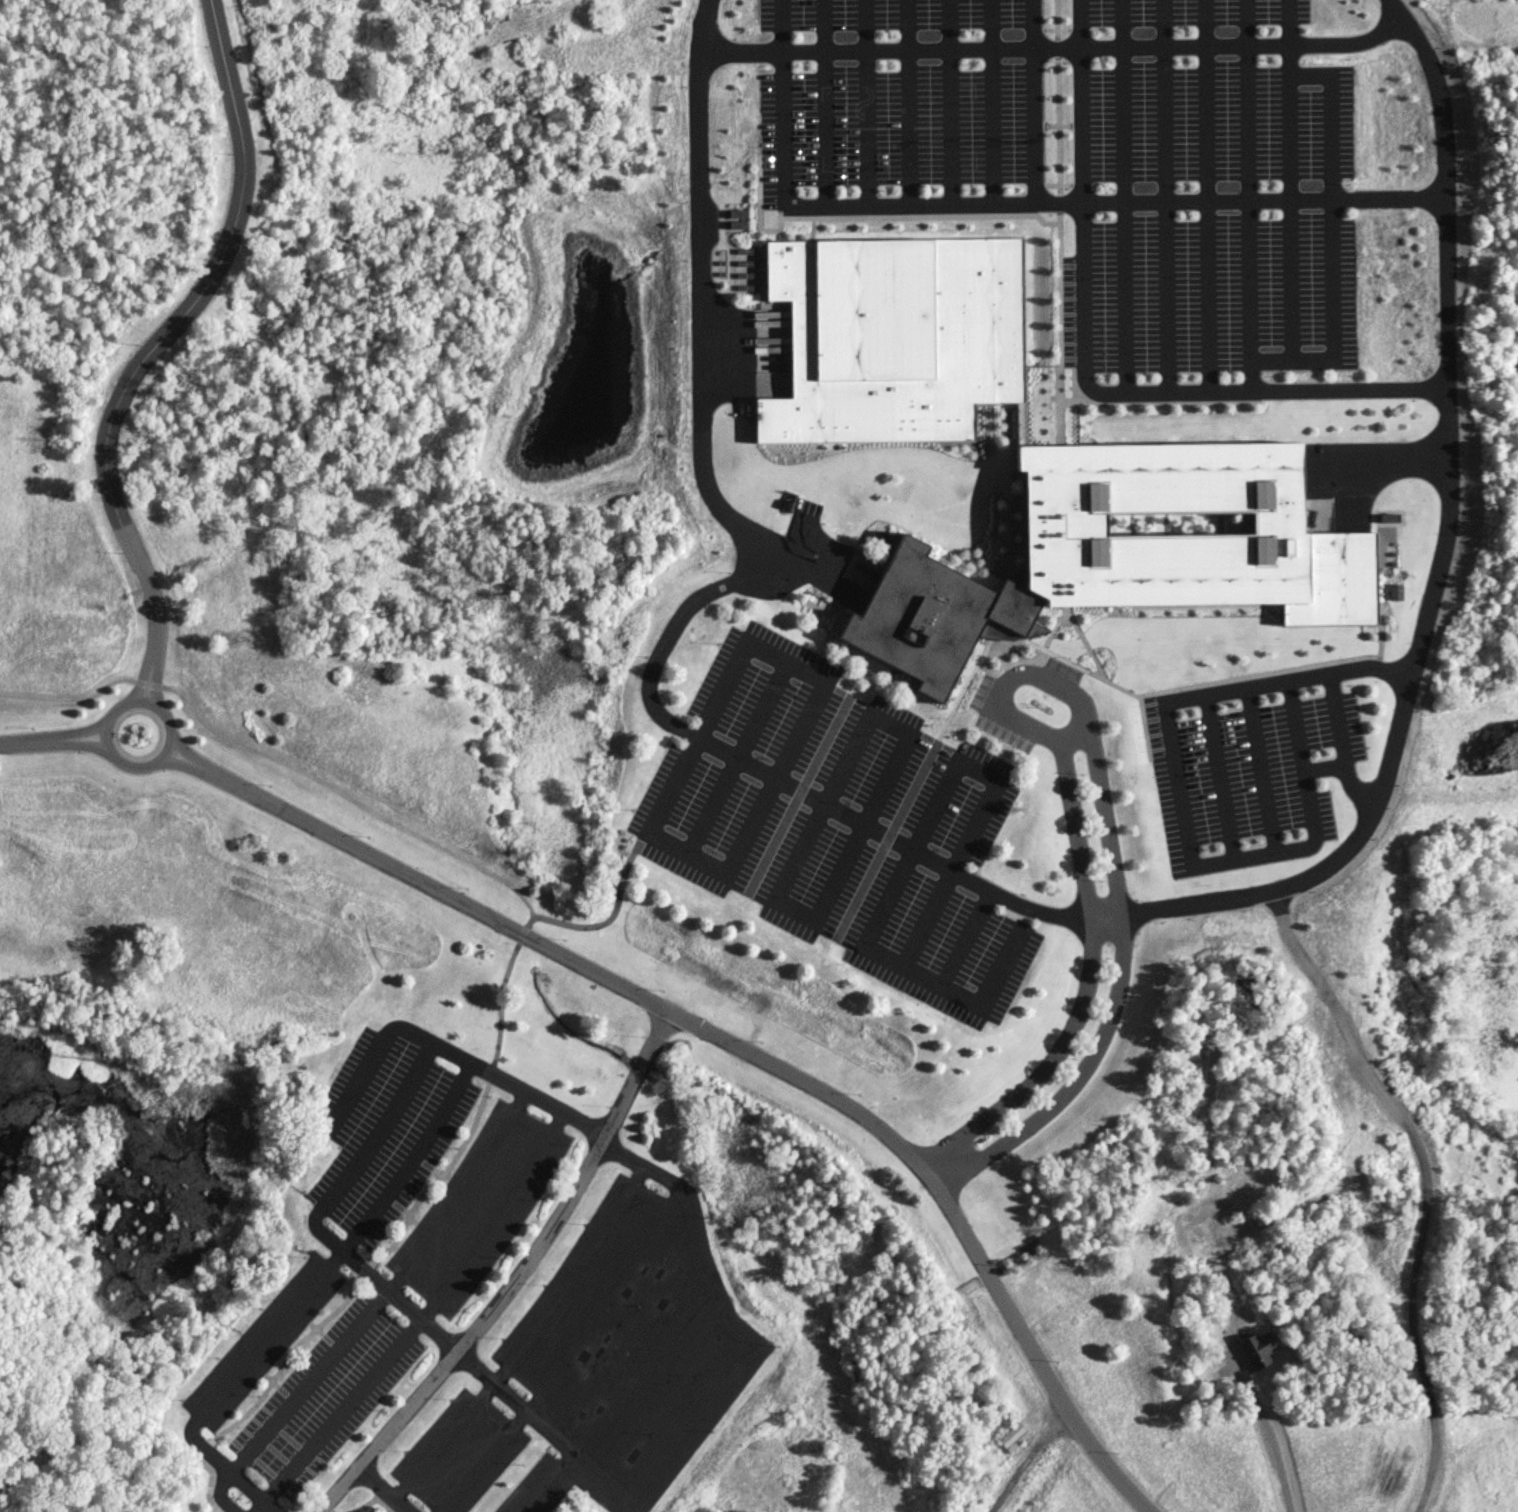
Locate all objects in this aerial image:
road: (1057, 47)
road: (1079, 99)
road: (991, 100)
road: (1033, 100)
road: (825, 101)
road: (867, 101)
road: (907, 101)
road: (950, 101)
road: (782, 102)
parking lot: (1093, 158)
road: (1289, 178)
road: (1248, 179)
road: (1330, 194)
road: (1123, 195)
road: (1164, 195)
road: (1205, 196)
road: (1113, 200)
road: (1058, 221)
road: (173, 321)
road: (1276, 358)
road: (1175, 392)
road: (1388, 461)
building: (1034, 462)
road: (1442, 554)
road: (705, 593)
road: (144, 670)
road: (156, 672)
road: (1030, 672)
road: (1288, 679)
road: (1337, 716)
road: (1075, 733)
road: (61, 736)
road: (6, 746)
road: (62, 746)
road: (208, 765)
road: (281, 766)
road: (143, 767)
road: (1262, 768)
road: (1346, 769)
road: (203, 773)
road: (1220, 775)
parking lot: (840, 824)
road: (1250, 854)
road: (385, 863)
road: (605, 920)
road: (733, 1041)
road: (496, 1073)
road: (354, 1082)
road: (376, 1129)
road: (1427, 1185)
road: (695, 1222)
road: (389, 1247)
road: (517, 1275)
road: (389, 1289)
road: (300, 1298)
road: (426, 1313)
road: (529, 1338)
road: (635, 1344)
road: (1024, 1348)
building: (1259, 1349)
road: (570, 1356)
road: (467, 1358)
road: (659, 1383)
road: (689, 1417)
road: (1268, 1435)
building: (1014, 1436)
road: (1022, 1464)
road: (546, 1481)
road: (384, 1488)
road: (401, 1509)

